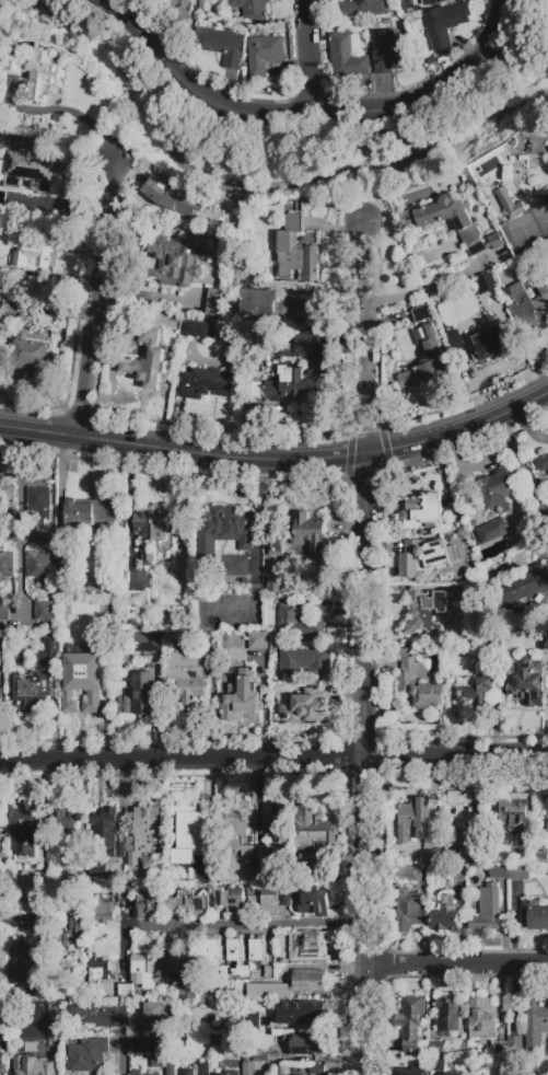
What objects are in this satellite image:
building: (432, 1)
building: (365, 8)
building: (249, 10)
road: (138, 11)
building: (176, 11)
building: (445, 22)
building: (220, 45)
building: (388, 53)
building: (264, 54)
road: (310, 57)
building: (346, 57)
building: (34, 74)
road: (314, 115)
building: (2, 141)
building: (534, 142)
building: (30, 169)
building: (173, 198)
building: (238, 204)
building: (510, 204)
building: (155, 209)
building: (417, 224)
building: (296, 251)
building: (34, 252)
building: (175, 261)
building: (547, 275)
building: (486, 282)
road: (429, 286)
road: (96, 300)
building: (214, 302)
building: (11, 303)
building: (272, 305)
building: (530, 307)
building: (421, 314)
building: (197, 330)
road: (364, 338)
building: (489, 344)
building: (305, 348)
building: (33, 352)
building: (147, 361)
building: (428, 361)
building: (207, 383)
building: (292, 384)
traffic signals: (364, 455)
road: (278, 462)
building: (543, 462)
road: (524, 473)
building: (497, 489)
building: (8, 497)
building: (39, 504)
road: (257, 511)
building: (422, 511)
building: (88, 515)
road: (20, 518)
building: (225, 529)
building: (155, 530)
building: (492, 531)
building: (308, 533)
building: (43, 537)
building: (276, 546)
building: (425, 557)
building: (62, 559)
building: (7, 565)
building: (235, 567)
building: (39, 568)
building: (275, 589)
building: (523, 589)
building: (471, 591)
building: (136, 600)
road: (363, 608)
building: (4, 611)
building: (44, 611)
building: (425, 612)
building: (304, 621)
building: (136, 623)
building: (492, 634)
building: (144, 641)
building: (258, 641)
building: (543, 641)
building: (48, 652)
building: (1, 661)
building: (304, 662)
building: (92, 673)
building: (187, 675)
building: (407, 678)
building: (526, 681)
building: (28, 691)
building: (140, 692)
building: (475, 692)
building: (2, 695)
building: (242, 696)
building: (304, 710)
road: (273, 760)
building: (516, 818)
building: (413, 819)
building: (277, 824)
building: (470, 824)
building: (68, 825)
building: (148, 829)
building: (312, 829)
building: (236, 831)
building: (186, 832)
building: (26, 833)
building: (104, 841)
building: (3, 845)
building: (260, 852)
building: (541, 856)
building: (431, 857)
building: (81, 859)
building: (306, 864)
building: (510, 872)
building: (205, 875)
building: (460, 876)
building: (410, 877)
building: (121, 892)
building: (285, 898)
building: (230, 900)
building: (269, 900)
building: (252, 902)
building: (313, 902)
building: (189, 903)
building: (143, 904)
building: (104, 911)
building: (410, 911)
building: (487, 911)
building: (446, 915)
building: (534, 915)
road: (366, 916)
road: (246, 927)
building: (72, 936)
building: (307, 946)
building: (212, 952)
building: (259, 956)
building: (237, 959)
building: (27, 964)
road: (457, 968)
building: (100, 971)
building: (144, 971)
building: (224, 972)
building: (183, 974)
building: (290, 986)
building: (126, 992)
building: (302, 1013)
building: (450, 1015)
building: (98, 1016)
building: (481, 1018)
building: (253, 1020)
building: (410, 1020)
building: (536, 1022)
building: (153, 1025)
building: (303, 1044)
building: (515, 1047)
building: (500, 1049)
building: (201, 1050)
building: (436, 1050)
building: (86, 1055)
building: (260, 1056)
building: (275, 1056)
road: (121, 1057)
building: (163, 1061)
building: (32, 1065)
building: (438, 1066)
building: (183, 1068)
building: (247, 1068)
building: (317, 1070)
building: (281, 1071)
building: (137, 1072)
building: (411, 1072)
building: (232, 1074)
building: (448, 1074)

